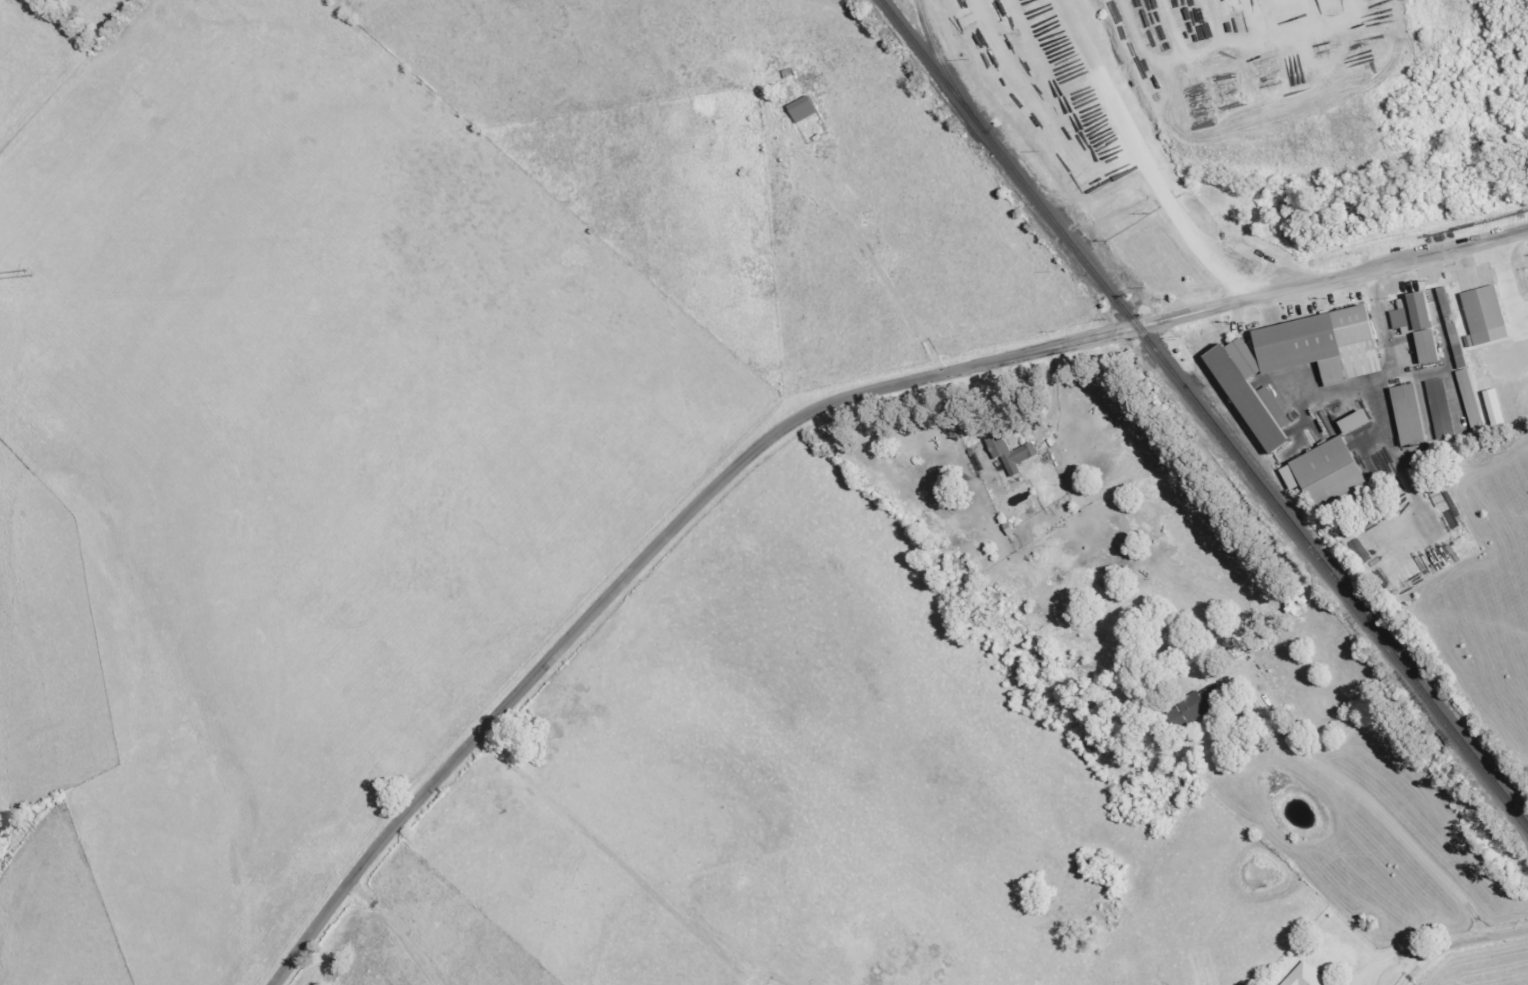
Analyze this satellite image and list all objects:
railway: (940, 65)
building: (804, 110)
railway: (969, 116)
road: (873, 261)
power tower: (24, 272)
road: (1224, 274)
building: (1431, 296)
building: (1481, 314)
building: (1415, 325)
building: (1450, 327)
building: (1317, 345)
building: (1245, 393)
building: (1467, 398)
building: (1490, 407)
building: (1436, 409)
building: (1405, 414)
road: (789, 422)
building: (1349, 422)
building: (1008, 453)
building: (1326, 474)
railway: (1294, 531)
building: (1191, 707)
road: (1375, 807)
road: (611, 859)
road: (397, 929)
road: (1435, 951)
road: (1415, 969)
building: (1303, 976)

